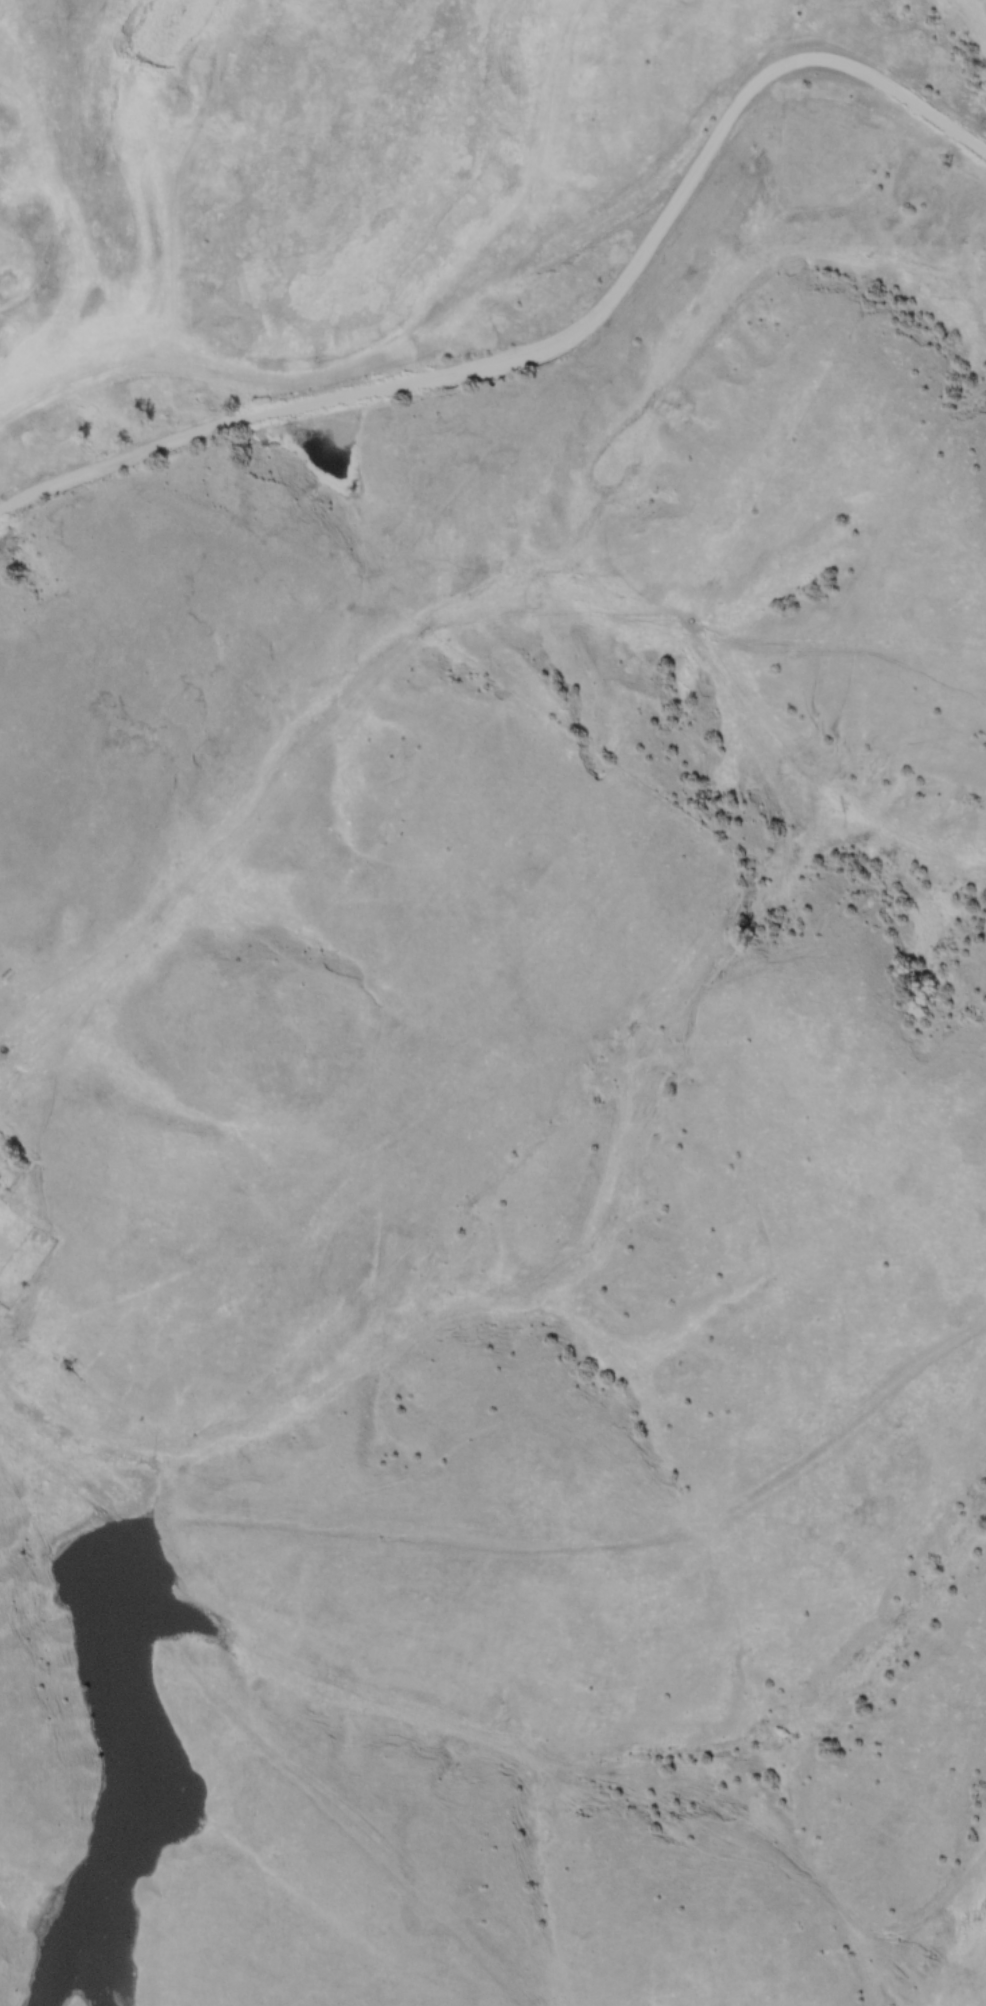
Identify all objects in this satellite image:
road: (559, 341)

